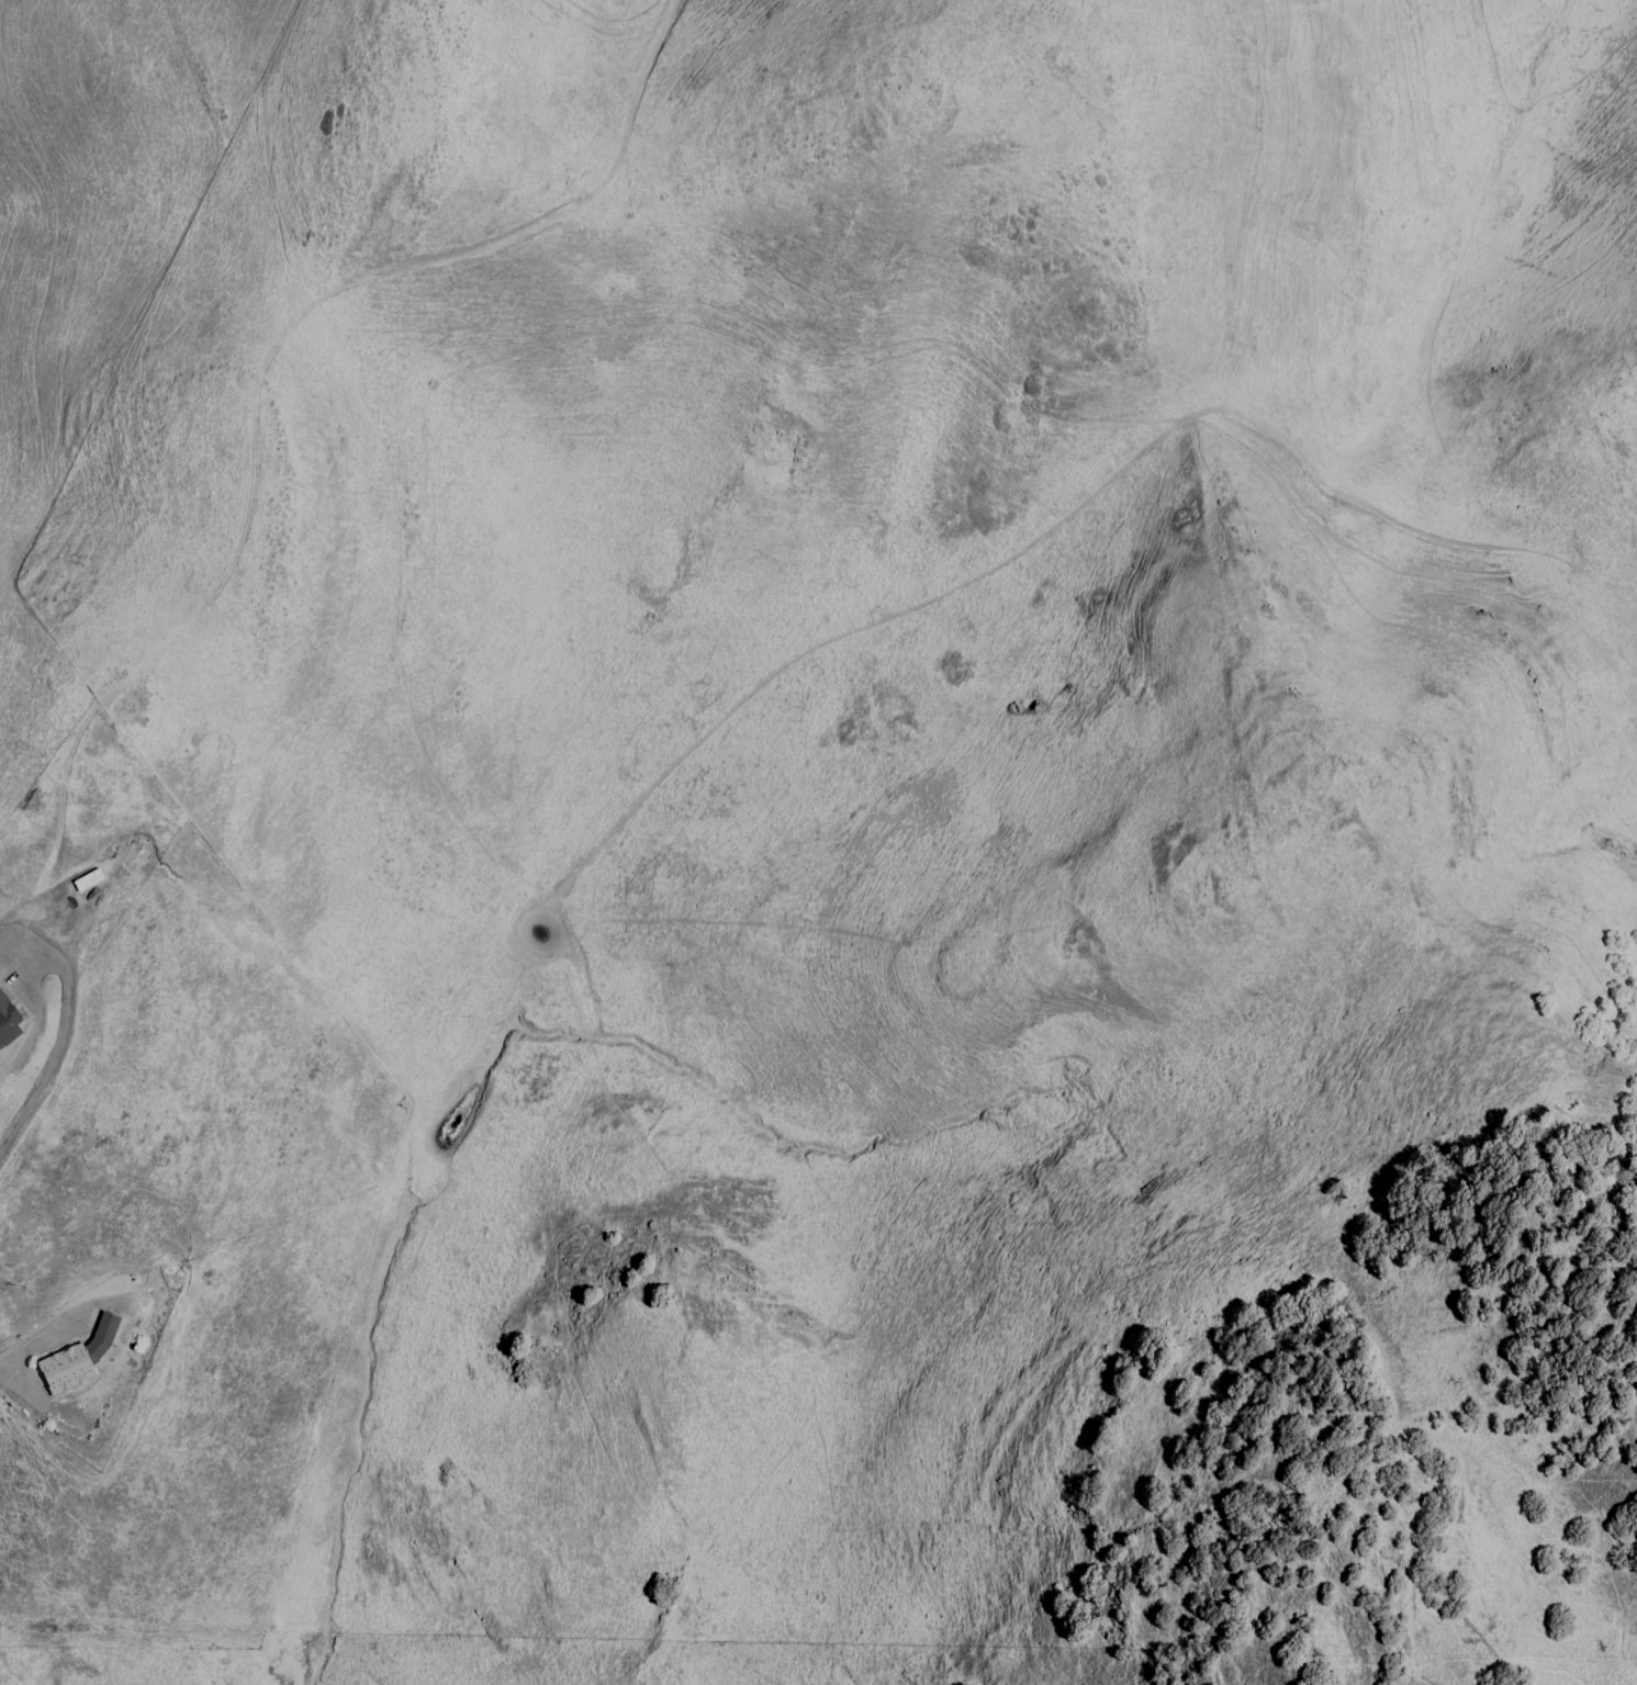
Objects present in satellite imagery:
building: (10, 1022)
road: (35, 1061)
building: (80, 1363)

